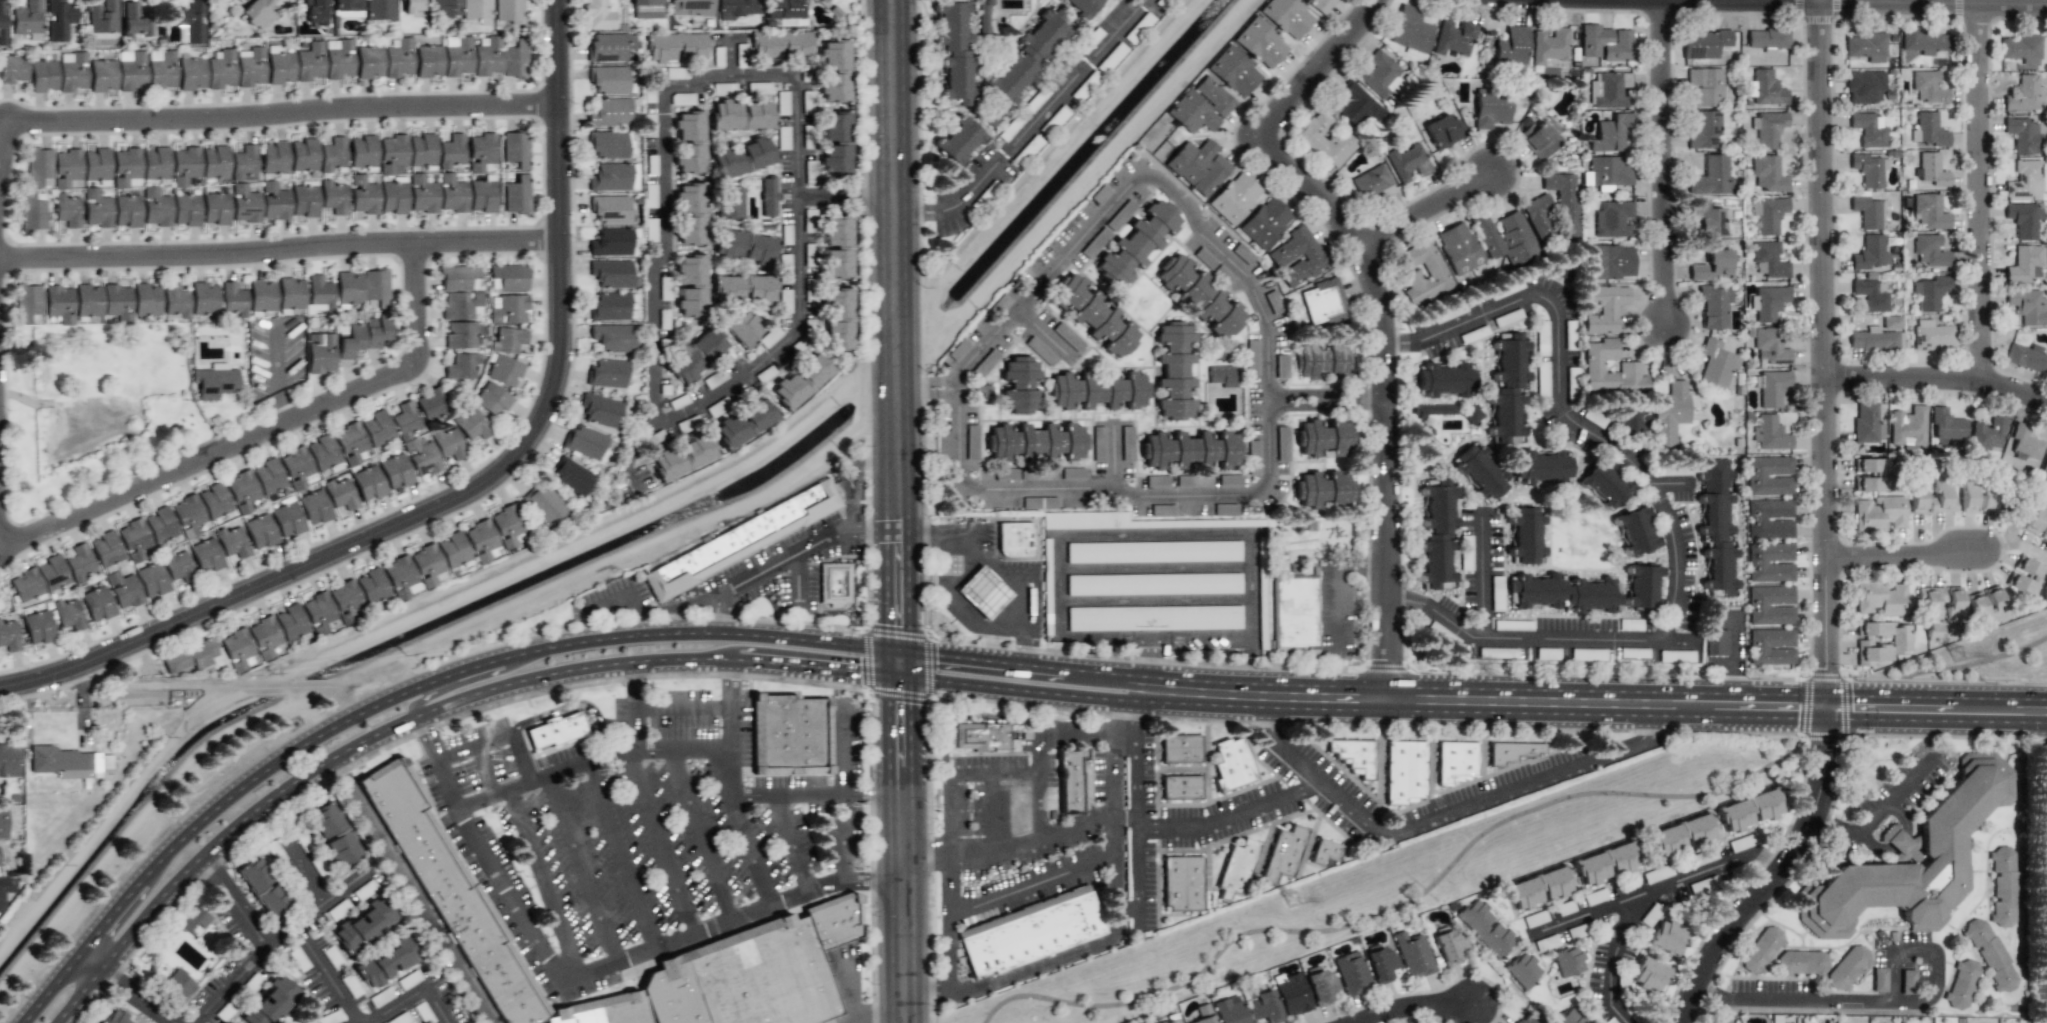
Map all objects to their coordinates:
building: (237, 1)
road: (1889, 3)
road: (2010, 3)
road: (2045, 3)
building: (347, 5)
building: (1320, 5)
road: (1868, 5)
building: (411, 6)
building: (1081, 6)
building: (443, 8)
building: (690, 8)
building: (737, 8)
building: (476, 9)
building: (647, 9)
building: (379, 10)
building: (315, 11)
building: (509, 11)
building: (785, 12)
building: (257, 13)
building: (347, 14)
building: (599, 15)
building: (983, 15)
building: (103, 17)
building: (1287, 17)
building: (26, 18)
building: (59, 20)
building: (134, 22)
building: (191, 22)
building: (2, 23)
building: (1410, 32)
building: (1453, 37)
building: (1767, 38)
building: (1924, 42)
building: (1260, 43)
building: (1605, 43)
building: (1703, 44)
building: (781, 45)
building: (1866, 46)
building: (677, 47)
building: (1511, 47)
building: (1549, 47)
building: (611, 48)
building: (2021, 49)
building: (953, 52)
building: (1028, 55)
building: (457, 56)
building: (487, 56)
road: (729, 56)
building: (717, 57)
building: (398, 58)
building: (338, 59)
building: (514, 59)
building: (428, 61)
building: (369, 62)
building: (310, 64)
building: (249, 67)
building: (12, 68)
building: (280, 68)
road: (1315, 69)
building: (221, 70)
building: (71, 71)
building: (131, 71)
building: (834, 71)
building: (1234, 71)
building: (1380, 74)
building: (191, 75)
building: (42, 76)
building: (102, 77)
building: (608, 80)
building: (1705, 86)
building: (1864, 87)
building: (1928, 87)
building: (1765, 88)
building: (1608, 90)
building: (2023, 95)
building: (678, 98)
building: (1355, 104)
building: (1200, 106)
building: (1491, 108)
road: (285, 111)
building: (610, 112)
building: (740, 115)
building: (689, 125)
building: (648, 126)
road: (1030, 126)
road: (663, 128)
building: (1703, 129)
building: (1767, 129)
building: (1868, 129)
building: (1927, 129)
building: (1444, 131)
building: (1611, 134)
building: (2022, 136)
building: (1310, 139)
building: (1537, 140)
building: (958, 141)
building: (611, 144)
building: (834, 144)
building: (515, 149)
building: (362, 151)
building: (451, 151)
building: (480, 152)
building: (392, 153)
building: (303, 154)
building: (333, 154)
building: (273, 157)
building: (689, 157)
building: (742, 158)
road: (4, 161)
building: (214, 162)
building: (155, 163)
building: (1407, 163)
road: (1661, 163)
building: (96, 164)
building: (244, 164)
building: (184, 166)
building: (1198, 166)
building: (39, 167)
building: (66, 168)
building: (126, 168)
building: (1869, 169)
building: (1930, 170)
building: (1610, 171)
building: (1767, 174)
building: (614, 177)
building: (1711, 177)
building: (2024, 182)
building: (1372, 183)
building: (422, 194)
building: (452, 194)
building: (1100, 194)
road: (1979, 194)
building: (363, 195)
building: (516, 195)
building: (482, 196)
building: (650, 196)
building: (767, 196)
building: (333, 197)
building: (392, 198)
building: (1234, 198)
building: (1563, 201)
building: (274, 202)
building: (303, 203)
building: (728, 203)
building: (244, 204)
building: (156, 207)
road: (1423, 207)
building: (96, 209)
building: (185, 209)
building: (215, 209)
building: (610, 209)
building: (66, 211)
building: (126, 211)
building: (1867, 212)
building: (31, 213)
building: (690, 213)
building: (1768, 214)
building: (1539, 218)
building: (1706, 218)
building: (1612, 219)
building: (2023, 219)
building: (1266, 223)
building: (650, 230)
building: (1505, 238)
building: (611, 242)
building: (1136, 243)
building: (743, 246)
building: (837, 247)
building: (1458, 248)
road: (280, 249)
building: (1929, 251)
building: (1869, 253)
building: (1297, 257)
building: (1769, 259)
building: (1609, 262)
building: (2024, 264)
building: (1712, 267)
building: (1435, 273)
building: (613, 274)
building: (508, 277)
building: (458, 278)
building: (691, 285)
building: (1190, 286)
building: (348, 288)
building: (375, 288)
building: (742, 288)
building: (1068, 292)
building: (1929, 292)
building: (290, 293)
building: (319, 294)
building: (1869, 295)
building: (261, 296)
building: (146, 299)
building: (203, 299)
building: (232, 300)
road: (418, 300)
building: (88, 301)
building: (175, 301)
building: (27, 302)
building: (1324, 302)
building: (1768, 302)
building: (117, 303)
building: (59, 304)
building: (459, 304)
building: (1713, 306)
building: (2027, 306)
building: (609, 307)
building: (1604, 308)
building: (509, 309)
building: (1096, 317)
building: (838, 318)
building: (1226, 322)
building: (743, 329)
road: (898, 331)
road: (1043, 331)
building: (460, 335)
building: (1932, 335)
building: (363, 336)
building: (613, 338)
road: (790, 338)
building: (507, 340)
building: (1874, 340)
building: (1121, 341)
building: (1769, 346)
building: (958, 350)
building: (320, 353)
building: (696, 356)
building: (2027, 358)
building: (1323, 361)
building: (1715, 365)
building: (461, 366)
building: (1281, 367)
building: (1628, 367)
building: (504, 371)
building: (1174, 371)
road: (277, 373)
building: (607, 373)
building: (1222, 376)
building: (718, 377)
road: (1937, 379)
building: (1444, 380)
building: (801, 381)
building: (214, 382)
building: (1019, 385)
building: (1507, 388)
building: (1772, 388)
building: (1097, 390)
road: (1384, 398)
building: (492, 399)
road: (1326, 400)
road: (1269, 404)
building: (431, 405)
building: (601, 410)
building: (1431, 410)
building: (1669, 413)
building: (1471, 415)
building: (405, 420)
building: (744, 423)
building: (1866, 423)
building: (470, 425)
building: (1946, 426)
building: (1907, 427)
building: (376, 428)
building: (1769, 433)
building: (1987, 433)
building: (1324, 438)
building: (585, 442)
building: (1035, 442)
building: (350, 443)
building: (2024, 443)
building: (447, 444)
building: (1190, 450)
building: (322, 452)
road: (210, 455)
building: (421, 455)
building: (682, 457)
road: (1113, 459)
building: (295, 467)
building: (1253, 467)
building: (1540, 467)
building: (2043, 471)
building: (396, 472)
building: (1479, 472)
building: (1870, 474)
building: (1769, 476)
building: (268, 477)
building: (572, 478)
road: (493, 480)
building: (368, 483)
building: (1604, 484)
building: (1939, 487)
building: (1322, 489)
building: (241, 491)
building: (340, 493)
building: (1976, 495)
building: (544, 504)
road: (1661, 504)
building: (314, 507)
building: (2028, 512)
building: (1878, 514)
building: (187, 515)
building: (287, 518)
building: (1769, 519)
building: (1083, 520)
building: (160, 525)
building: (509, 526)
building: (1716, 527)
building: (259, 531)
building: (1634, 531)
road: (1195, 533)
building: (1436, 533)
road: (1826, 533)
building: (2044, 533)
building: (1526, 536)
road: (879, 538)
building: (1014, 539)
building: (134, 540)
building: (481, 540)
building: (740, 540)
building: (231, 542)
road: (1, 543)
road: (823, 546)
road: (2015, 546)
building: (105, 549)
building: (453, 550)
building: (1145, 551)
road: (1904, 553)
building: (206, 556)
building: (1770, 562)
building: (79, 563)
building: (428, 565)
building: (178, 566)
road: (1007, 567)
road: (1154, 568)
building: (51, 573)
road: (1483, 577)
building: (401, 578)
building: (2028, 578)
building: (152, 580)
road: (797, 582)
building: (834, 584)
building: (1152, 584)
road: (1334, 584)
building: (26, 585)
building: (1641, 586)
building: (123, 590)
building: (982, 592)
building: (1563, 593)
building: (1046, 595)
building: (346, 599)
building: (1879, 599)
road: (1155, 601)
building: (97, 604)
building: (1770, 605)
road: (667, 607)
building: (1986, 607)
building: (1938, 613)
building: (1293, 614)
building: (68, 616)
building: (1153, 618)
building: (290, 622)
building: (38, 627)
building: (1261, 634)
building: (8, 637)
building: (1880, 641)
building: (1716, 642)
building: (251, 644)
building: (1770, 646)
building: (1675, 656)
power tower: (1957, 656)
building: (190, 657)
road: (966, 659)
road: (1732, 661)
road: (656, 662)
road: (1083, 674)
road: (444, 675)
road: (471, 681)
road: (16, 687)
road: (633, 688)
road: (1020, 690)
road: (1590, 707)
road: (661, 711)
road: (601, 727)
building: (555, 731)
building: (790, 735)
building: (981, 737)
road: (843, 748)
building: (1180, 749)
road: (667, 752)
building: (1511, 752)
road: (521, 753)
building: (1353, 756)
building: (9, 761)
building: (105, 761)
building: (1455, 761)
building: (64, 762)
building: (1231, 764)
road: (484, 770)
road: (1018, 771)
building: (1403, 772)
building: (1070, 781)
road: (738, 786)
building: (1180, 787)
road: (2046, 792)
road: (835, 793)
road: (1279, 797)
road: (1492, 797)
building: (1764, 805)
road: (991, 808)
road: (1881, 811)
building: (1734, 815)
road: (240, 821)
building: (3, 822)
building: (333, 834)
building: (1682, 835)
road: (702, 837)
building: (301, 839)
road: (906, 843)
building: (1739, 843)
road: (792, 845)
road: (659, 846)
building: (275, 851)
building: (1324, 852)
building: (1282, 853)
road: (618, 857)
building: (1913, 859)
building: (1605, 863)
road: (583, 869)
building: (1235, 869)
road: (1423, 873)
building: (1656, 874)
road: (1034, 880)
building: (1182, 884)
road: (542, 885)
road: (1663, 885)
building: (2002, 887)
building: (263, 888)
building: (1538, 888)
building: (6, 890)
road: (408, 891)
building: (1594, 897)
power tower: (1293, 902)
road: (1119, 904)
building: (473, 910)
building: (193, 918)
building: (364, 924)
building: (1485, 928)
road: (950, 930)
building: (1029, 932)
road: (280, 934)
road: (299, 934)
building: (1664, 937)
road: (263, 941)
building: (1449, 946)
building: (1761, 950)
building: (1989, 954)
building: (1414, 955)
road: (90, 960)
building: (386, 961)
building: (1568, 961)
building: (1801, 962)
building: (1382, 964)
road: (1610, 964)
building: (1847, 967)
building: (1523, 970)
building: (755, 971)
road: (590, 973)
building: (1351, 973)
building: (1648, 974)
building: (1879, 979)
building: (1961, 984)
building: (178, 986)
road: (47, 987)
building: (1321, 987)
road: (408, 995)
building: (1292, 995)
road: (81, 996)
road: (138, 996)
road: (1875, 998)
building: (271, 1002)
building: (1264, 1006)
building: (1229, 1010)
road: (1418, 1010)
building: (1203, 1014)
road: (883, 1015)
building: (1568, 1016)
building: (115, 1017)
building: (1524, 1020)
building: (1174, 1021)

